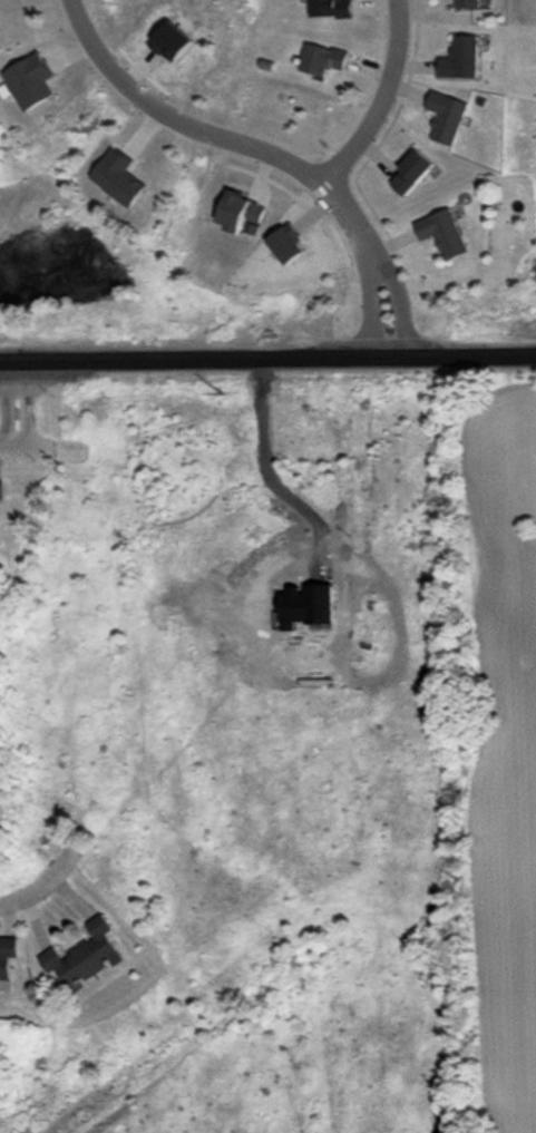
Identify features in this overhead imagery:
building: (459, 4)
building: (330, 8)
building: (169, 41)
building: (454, 55)
building: (322, 59)
building: (30, 80)
road: (376, 96)
building: (437, 114)
road: (224, 134)
building: (405, 167)
building: (231, 212)
building: (436, 232)
road: (400, 311)
road: (369, 312)
road: (267, 359)
road: (3, 404)
road: (25, 404)
road: (7, 448)
road: (263, 466)
building: (1, 490)
crop: (504, 742)
road: (43, 881)
building: (92, 938)
building: (6, 949)
building: (56, 963)

